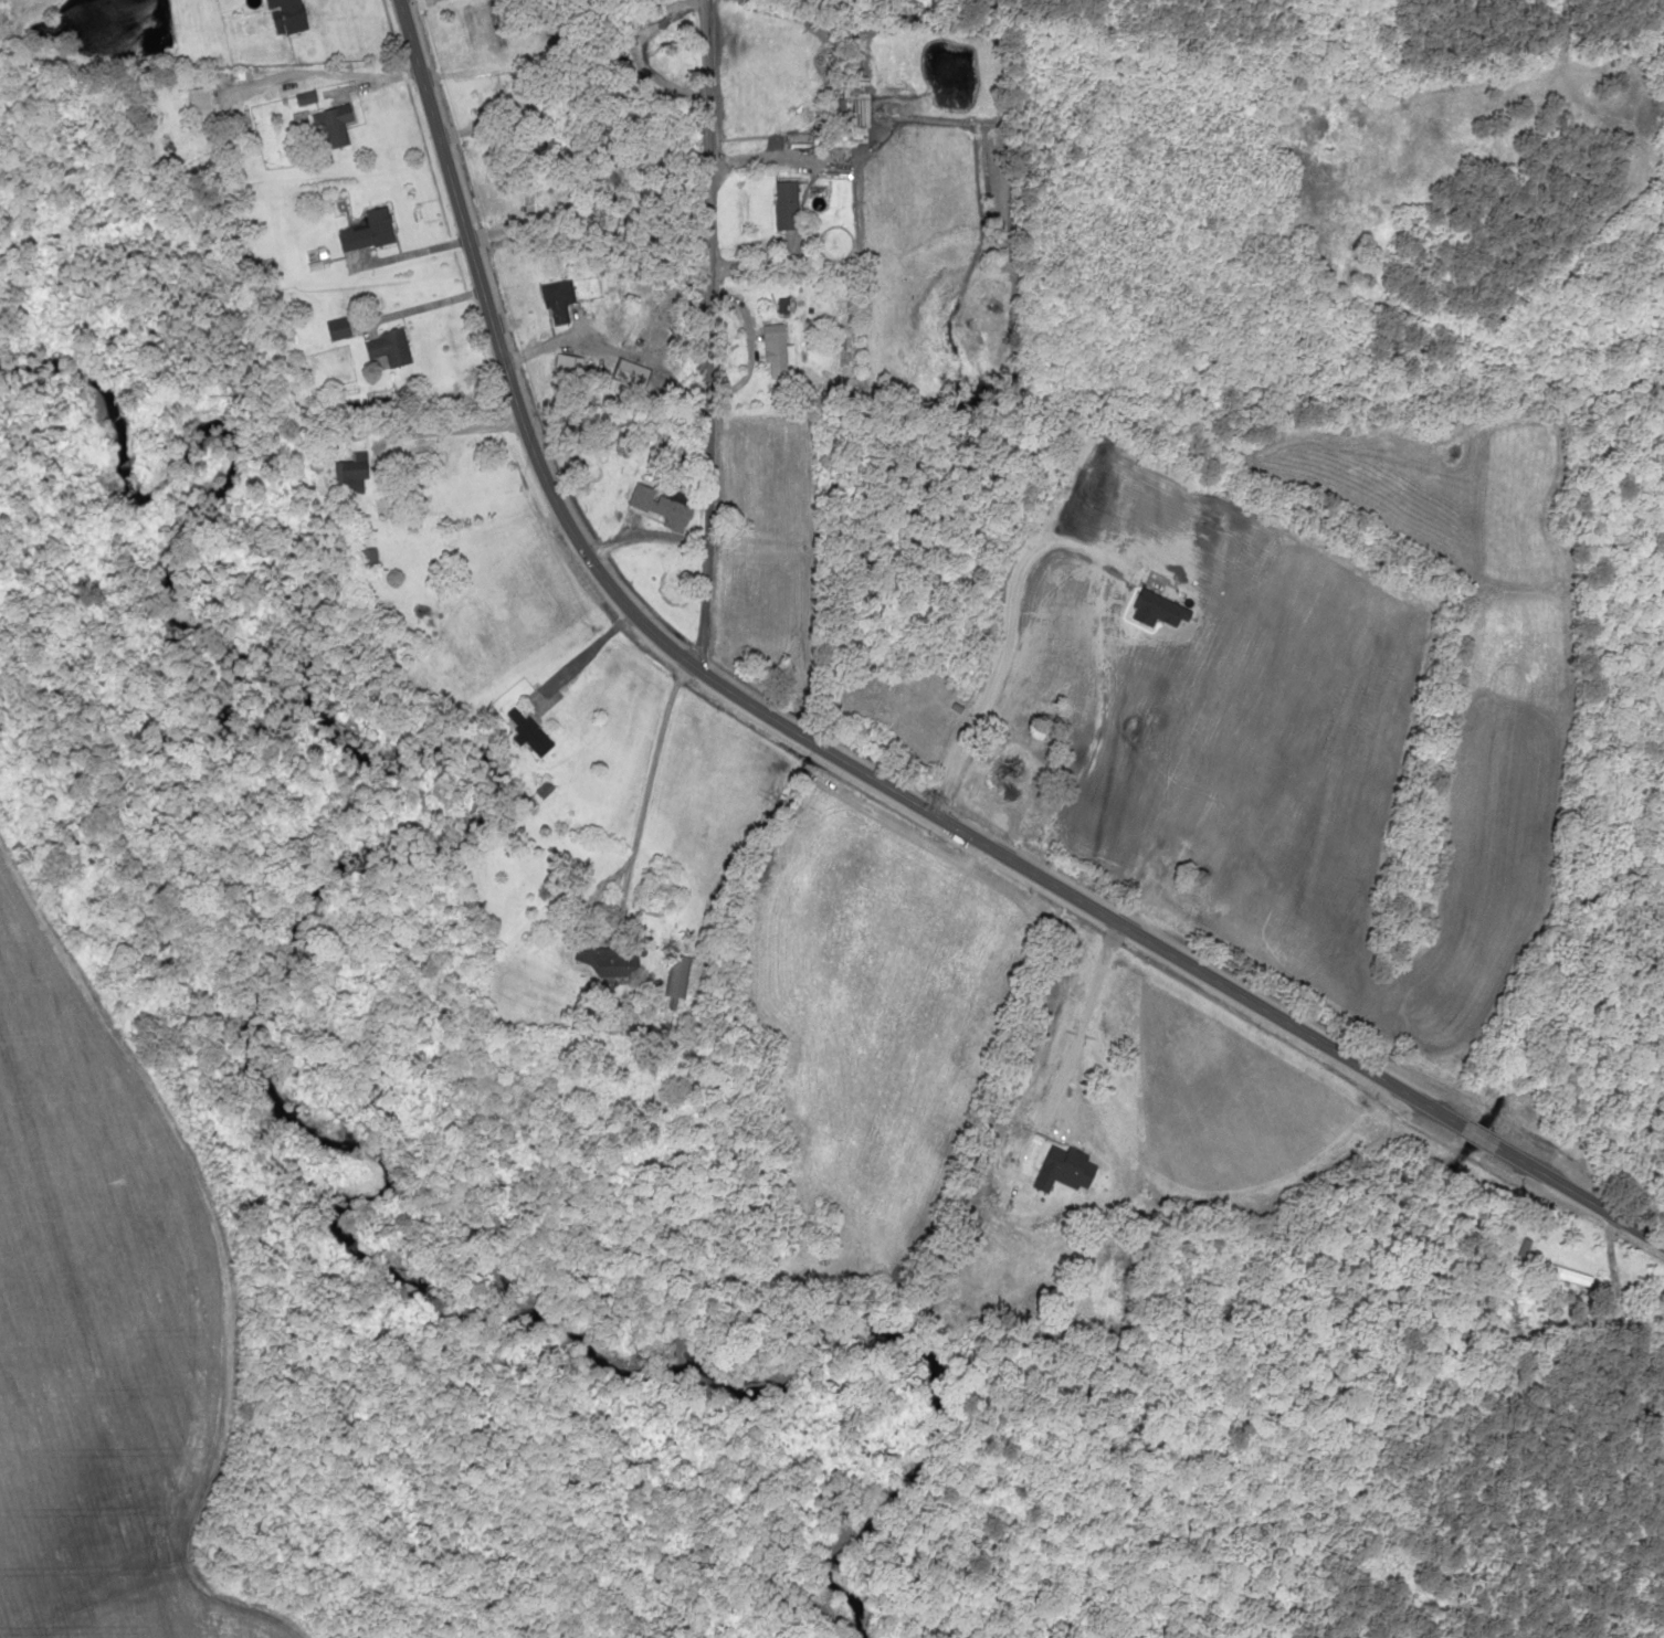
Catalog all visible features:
building: (640, 13)
building: (282, 15)
building: (303, 97)
building: (198, 107)
building: (852, 112)
building: (331, 125)
building: (527, 197)
building: (784, 204)
building: (379, 226)
building: (351, 237)
building: (558, 299)
road: (697, 332)
building: (667, 334)
building: (775, 347)
building: (391, 349)
building: (573, 367)
building: (632, 373)
building: (352, 476)
building: (656, 506)
building: (368, 559)
road: (758, 705)
building: (527, 732)
building: (1004, 775)
building: (617, 962)
building: (676, 974)
road: (1482, 1131)
road: (1581, 1190)
building: (1091, 1205)
building: (1566, 1274)
crop: (97, 1327)

